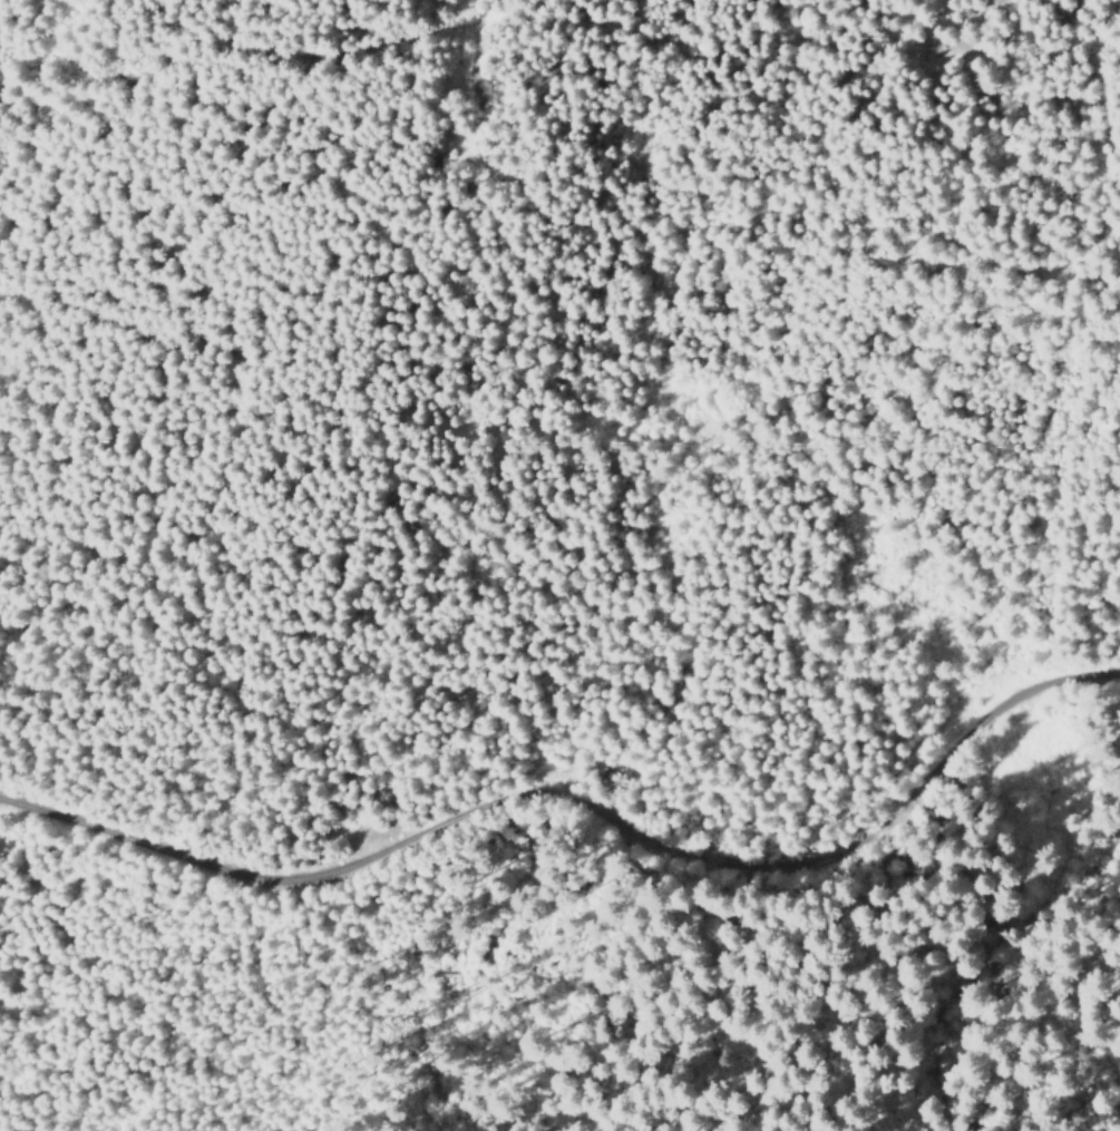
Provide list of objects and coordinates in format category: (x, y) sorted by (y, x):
road: (583, 806)

